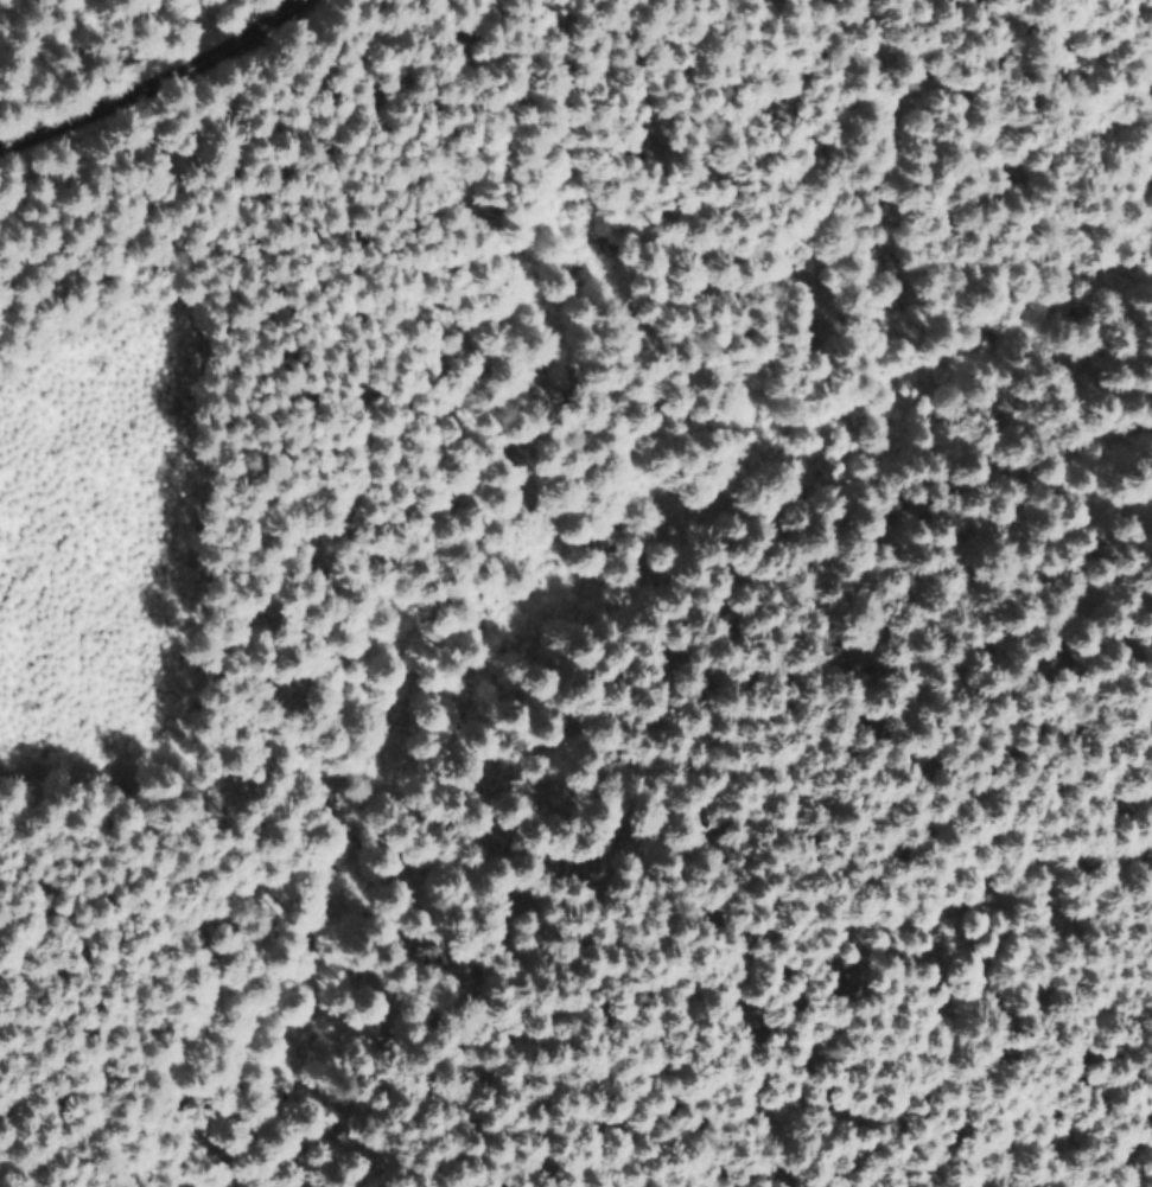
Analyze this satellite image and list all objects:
road: (171, 89)
road: (223, 595)

